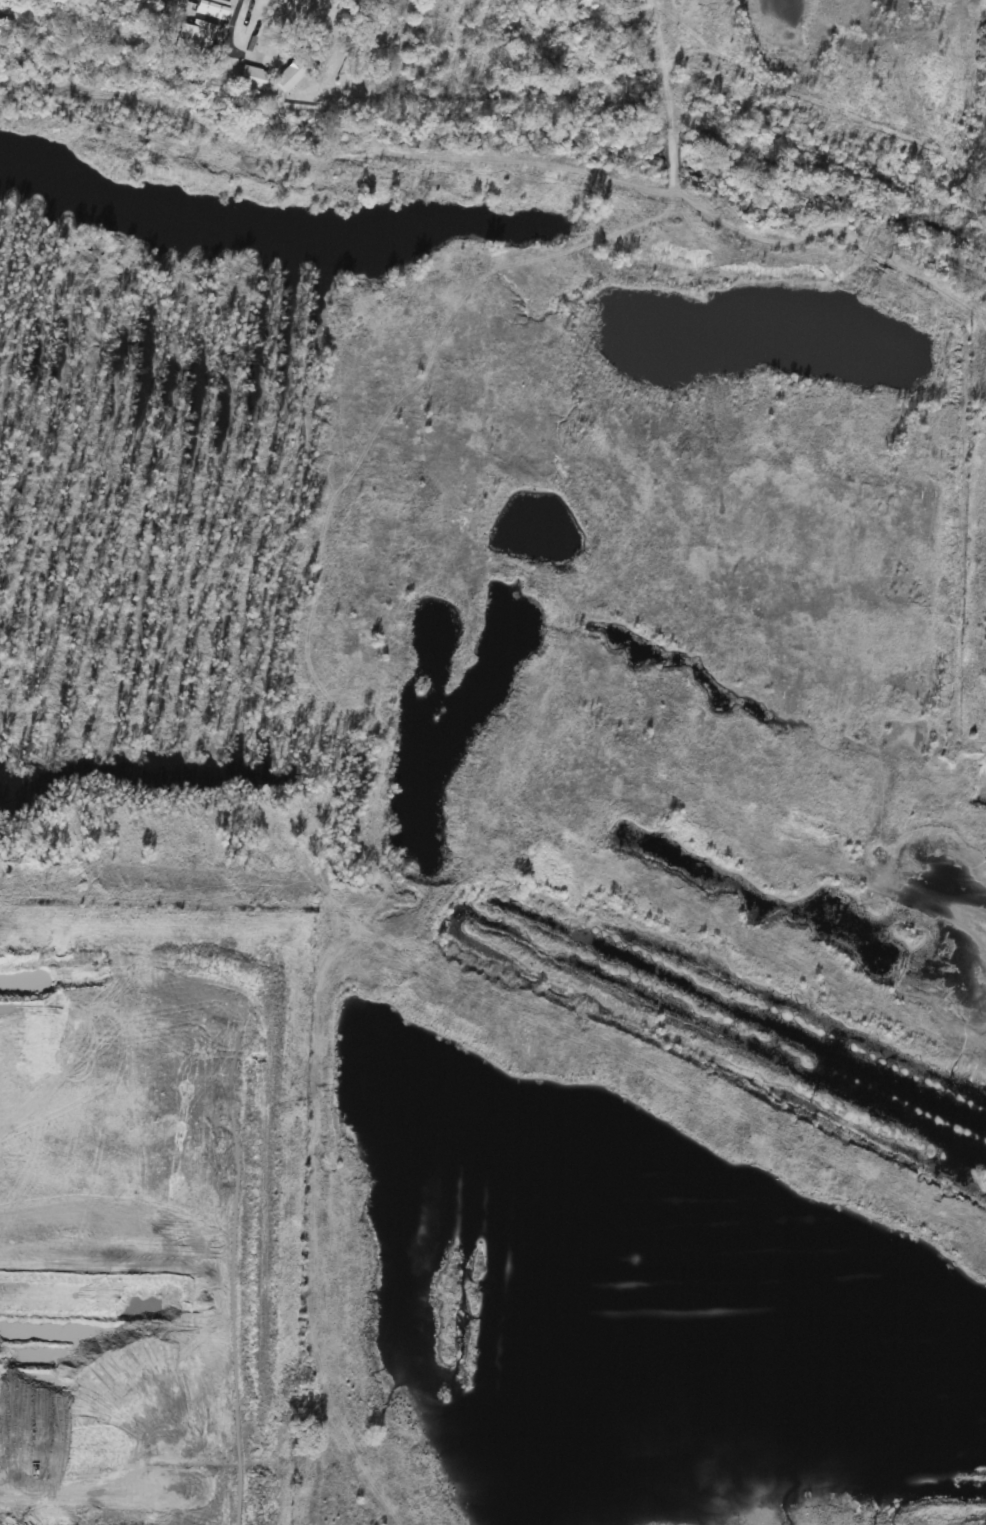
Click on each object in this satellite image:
road: (228, 23)
building: (248, 77)

